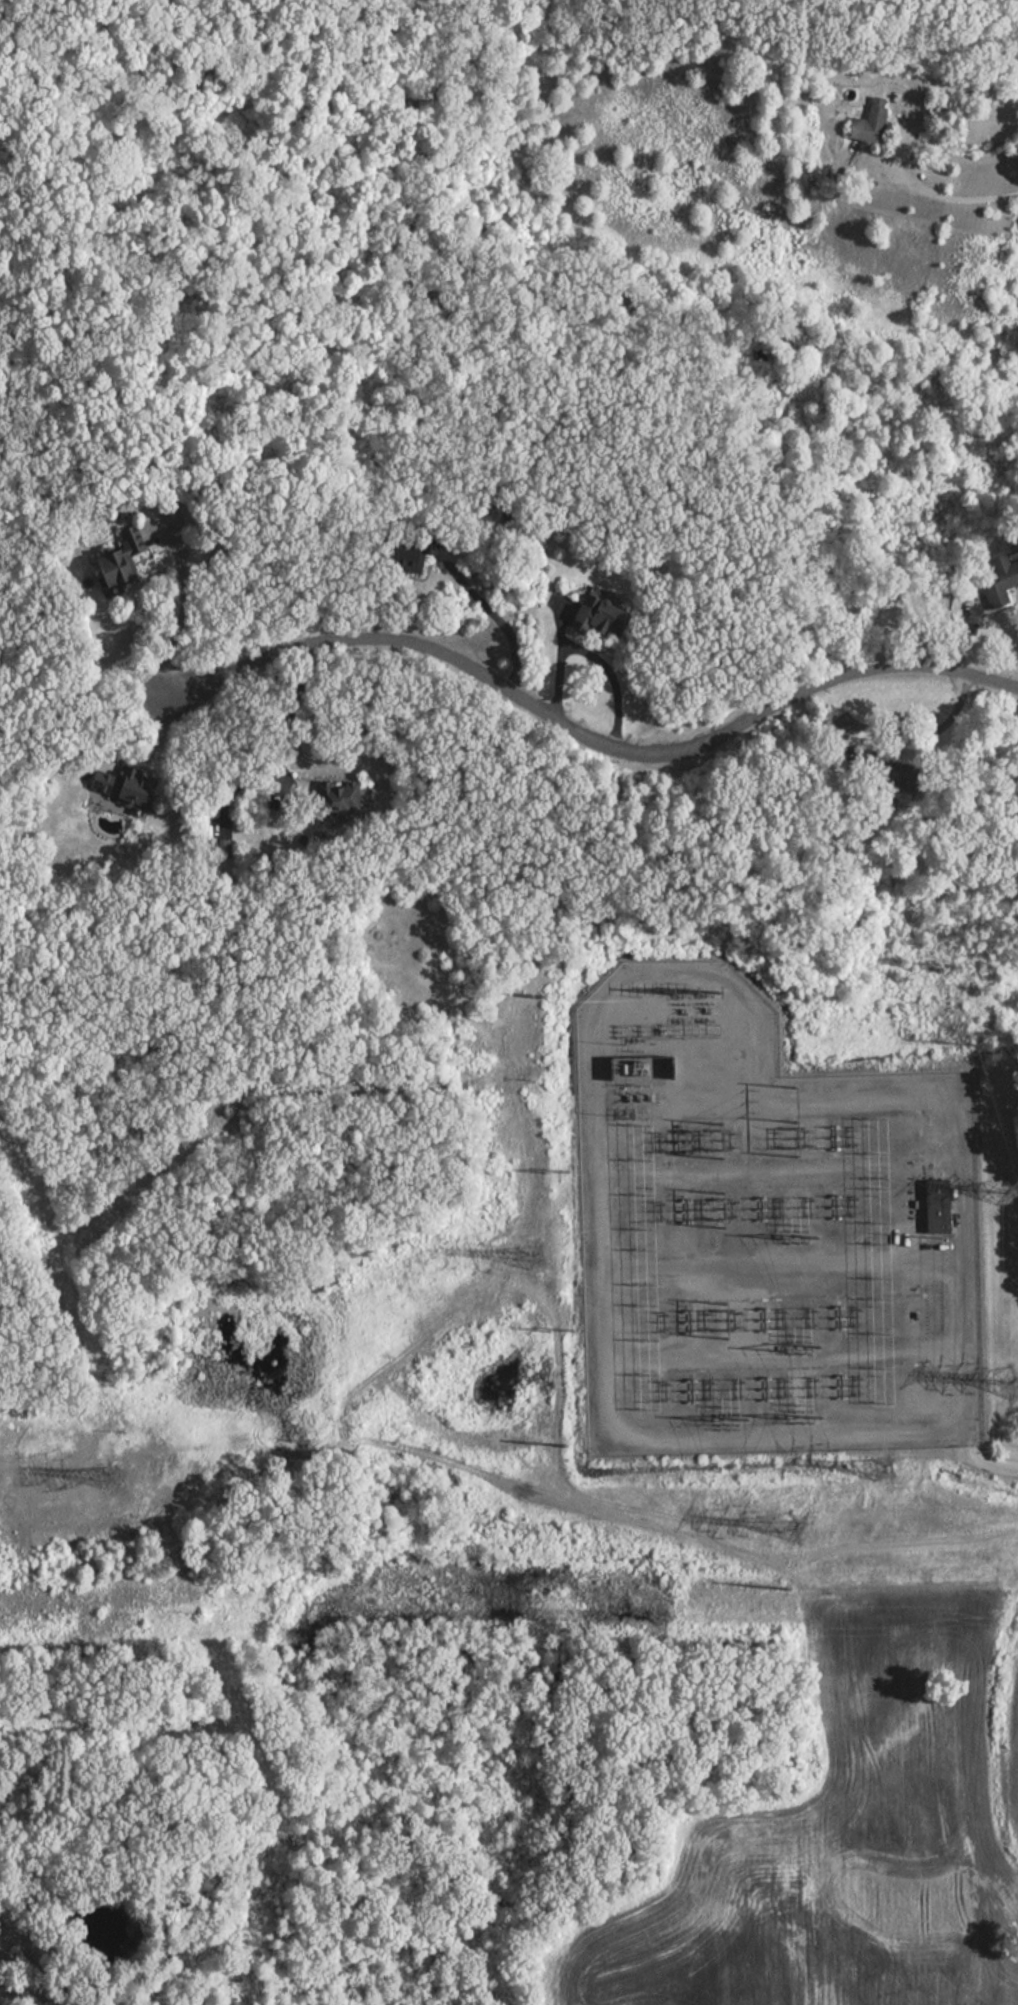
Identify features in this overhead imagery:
building: (871, 123)
road: (896, 160)
building: (122, 562)
building: (405, 566)
building: (1001, 582)
road: (183, 607)
road: (497, 618)
building: (603, 619)
road: (961, 633)
road: (556, 656)
road: (611, 677)
road: (131, 713)
road: (592, 734)
road: (909, 739)
building: (898, 777)
building: (125, 786)
building: (337, 798)
power tower: (538, 1000)
road: (602, 1002)
power tower: (1011, 1194)
building: (942, 1208)
power substation: (769, 1234)
power tower: (537, 1258)
power tower: (1011, 1386)
power tower: (563, 1448)
road: (983, 1462)
power tower: (882, 1472)
power tower: (115, 1480)
power tower: (792, 1536)
power tower: (782, 1592)

